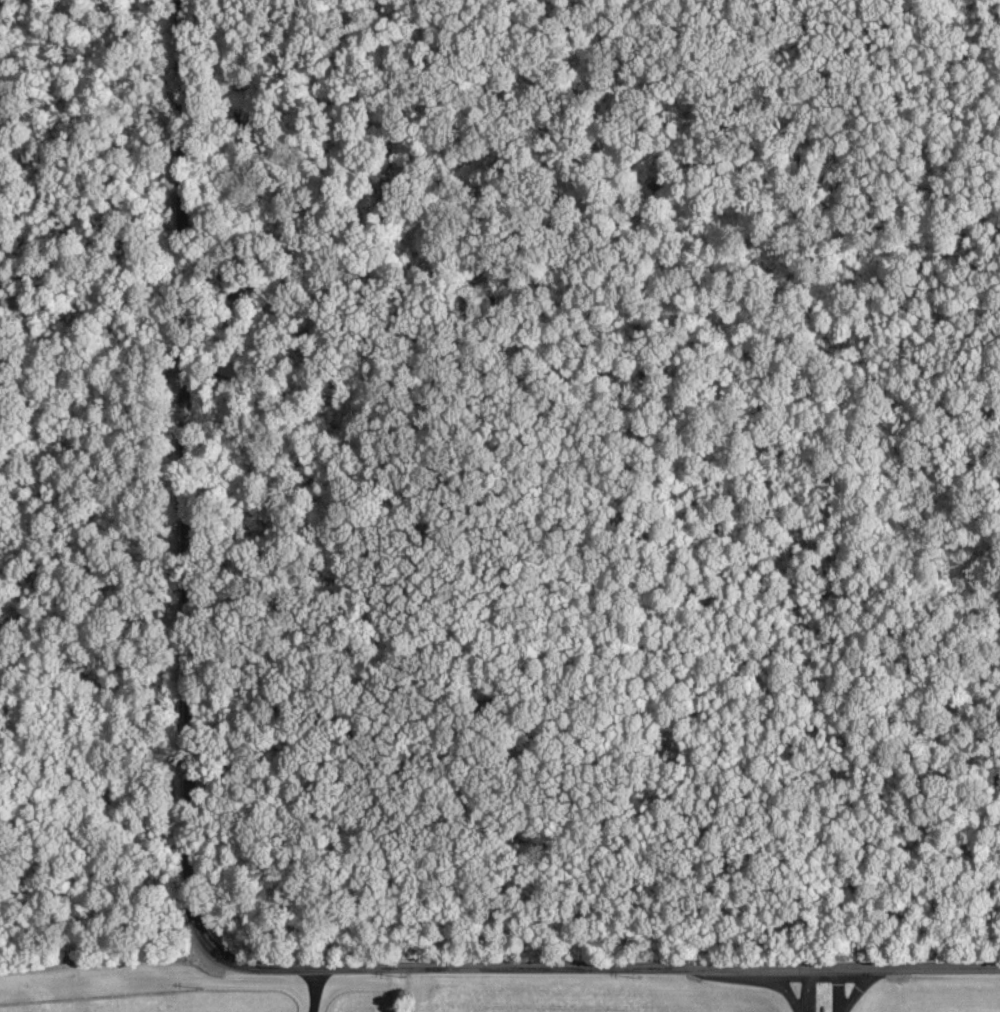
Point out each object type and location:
road: (180, 483)
road: (615, 967)
road: (312, 989)
road: (821, 990)

